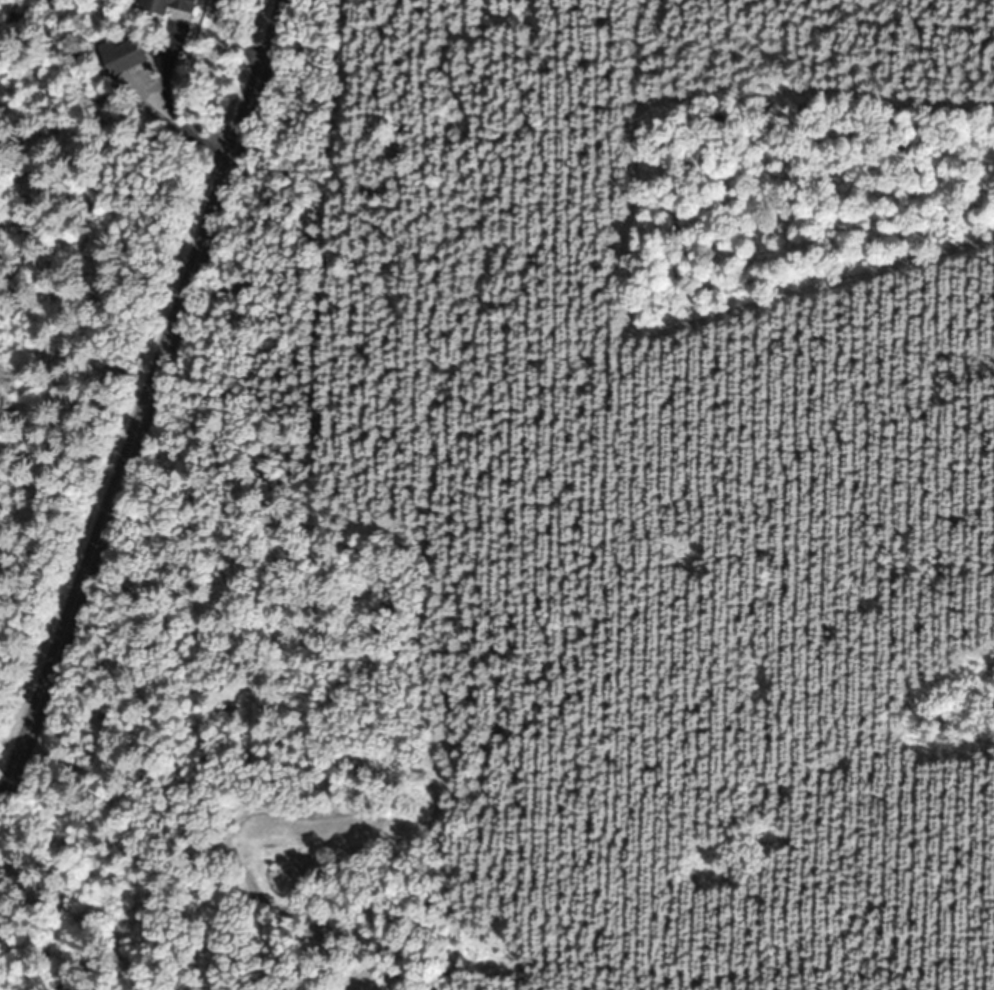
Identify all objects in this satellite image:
building: (171, 5)
building: (124, 55)
road: (142, 406)

